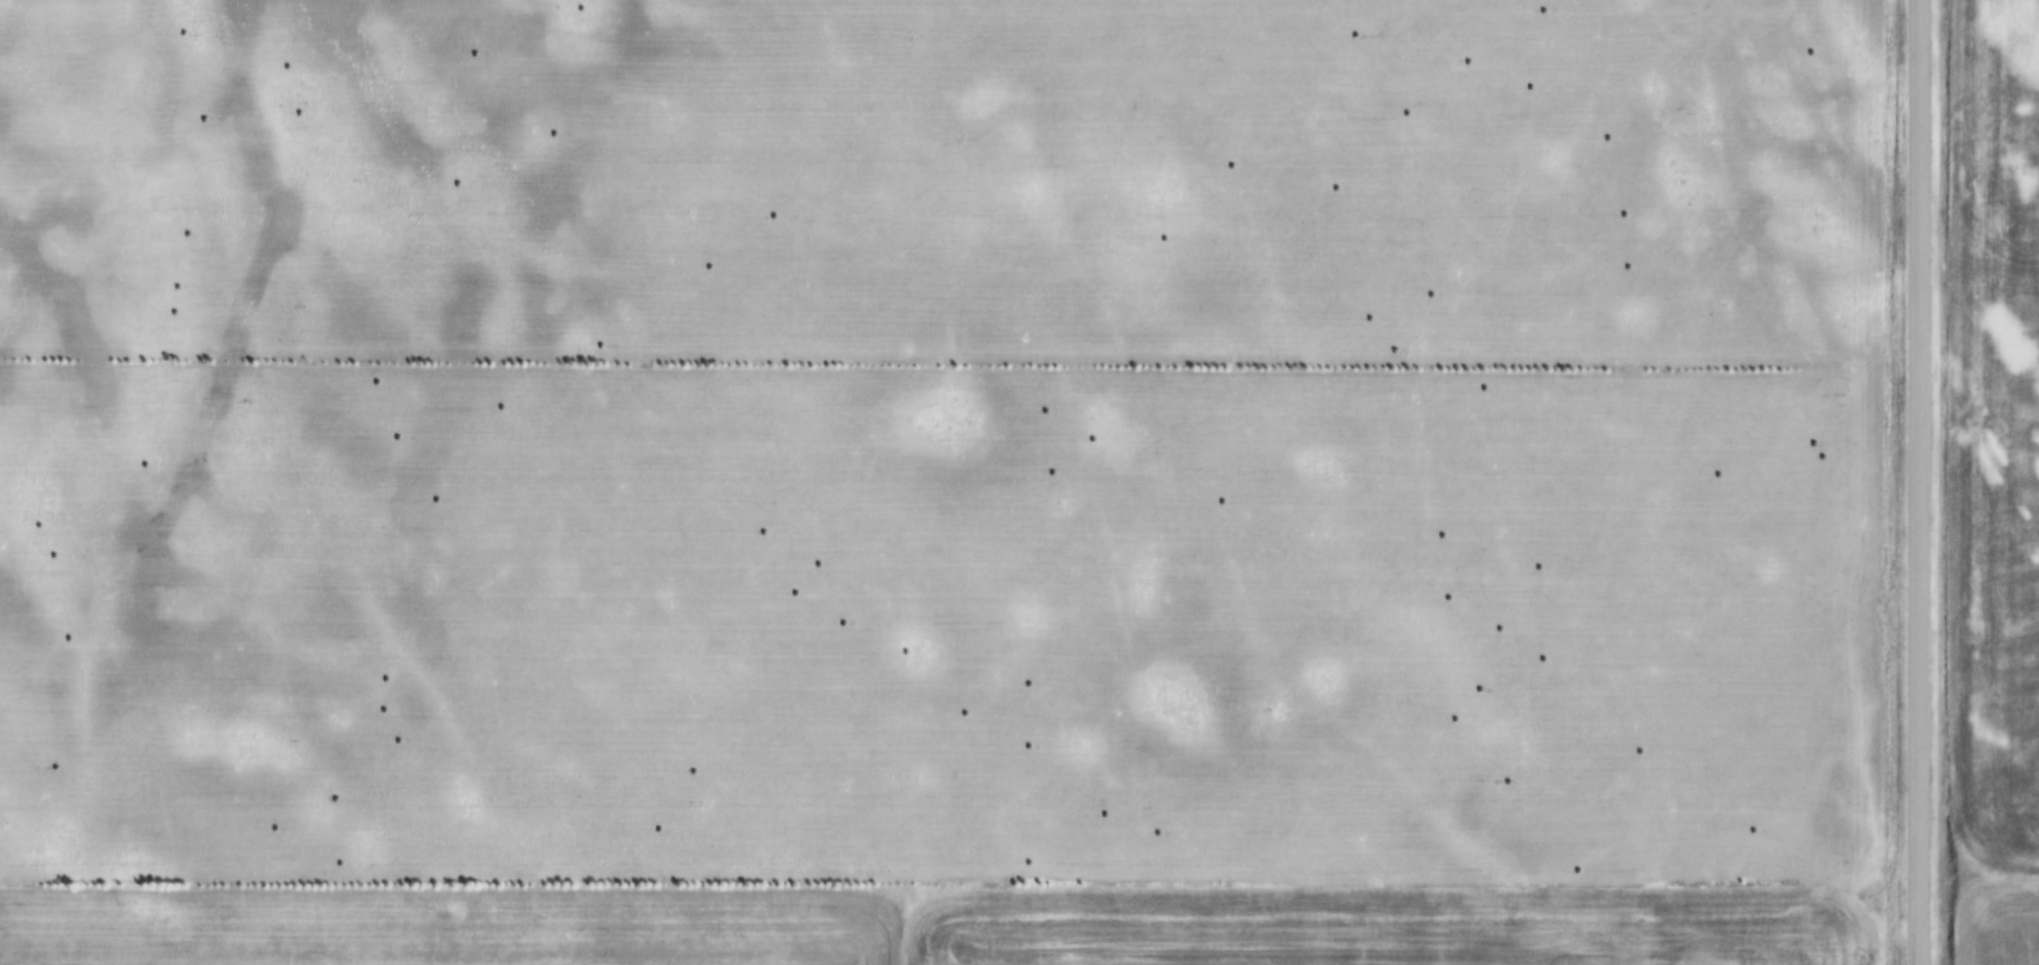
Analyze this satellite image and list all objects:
road: (1922, 482)

